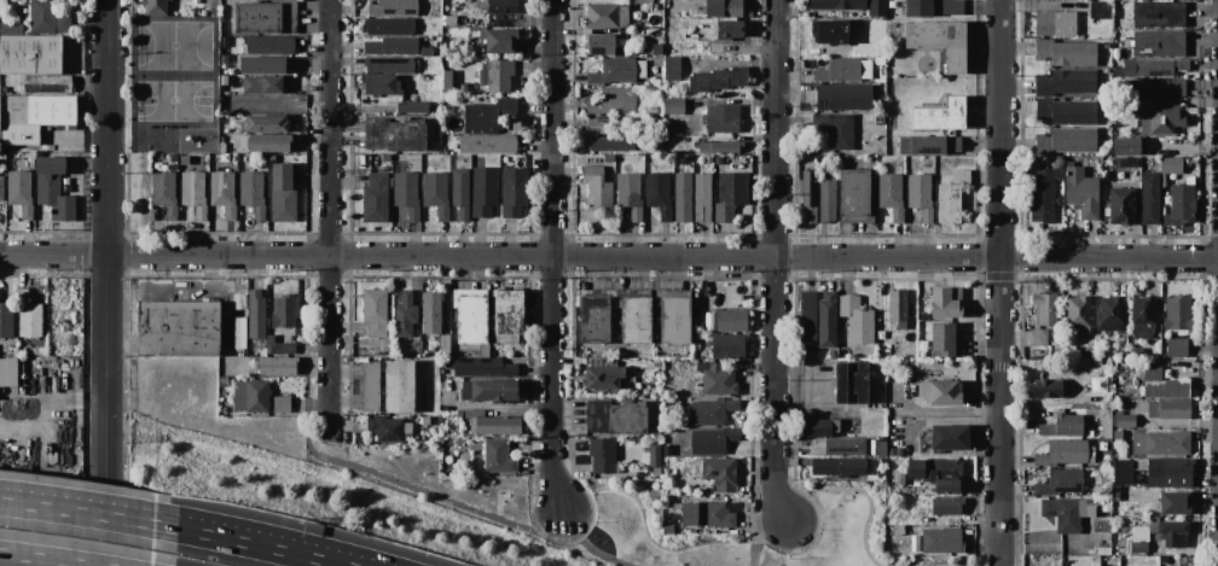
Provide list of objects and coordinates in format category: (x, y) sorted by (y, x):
building: (644, 1)
building: (837, 5)
building: (501, 6)
building: (156, 7)
building: (393, 7)
building: (723, 7)
building: (876, 7)
building: (934, 8)
building: (1098, 8)
building: (1159, 14)
building: (608, 16)
building: (47, 17)
building: (266, 17)
building: (857, 23)
building: (1055, 23)
building: (10, 25)
building: (390, 25)
building: (730, 28)
building: (831, 33)
building: (1120, 37)
building: (500, 40)
building: (938, 40)
building: (604, 43)
building: (1159, 43)
building: (269, 45)
building: (391, 45)
building: (720, 47)
building: (427, 51)
building: (1066, 52)
building: (30, 54)
building: (263, 64)
building: (389, 65)
building: (1160, 66)
building: (672, 68)
building: (839, 70)
building: (617, 71)
building: (500, 76)
building: (718, 80)
building: (447, 81)
building: (1067, 81)
building: (47, 83)
building: (266, 83)
building: (382, 84)
building: (1160, 88)
building: (651, 89)
building: (843, 97)
building: (614, 100)
building: (674, 105)
building: (413, 107)
building: (651, 110)
building: (1066, 111)
building: (880, 112)
building: (489, 113)
building: (940, 115)
building: (35, 116)
building: (720, 118)
building: (1161, 118)
building: (266, 123)
building: (598, 127)
building: (834, 129)
building: (394, 135)
building: (1067, 140)
building: (268, 142)
building: (611, 142)
building: (487, 144)
building: (929, 145)
building: (718, 146)
building: (1125, 146)
building: (173, 157)
building: (233, 158)
building: (182, 159)
building: (1127, 162)
building: (1171, 164)
building: (1, 187)
building: (162, 187)
building: (53, 188)
building: (598, 188)
building: (1080, 189)
building: (485, 191)
building: (21, 192)
building: (195, 192)
building: (225, 192)
building: (460, 192)
building: (514, 192)
building: (854, 192)
building: (253, 193)
building: (283, 193)
building: (436, 193)
building: (407, 194)
building: (630, 194)
building: (659, 194)
building: (730, 194)
building: (891, 194)
building: (921, 194)
building: (808, 196)
building: (828, 196)
building: (375, 197)
building: (702, 197)
building: (952, 197)
building: (1042, 197)
building: (683, 198)
building: (1150, 198)
building: (1121, 205)
building: (1179, 205)
road: (329, 211)
road: (608, 255)
road: (552, 257)
road: (775, 263)
road: (108, 282)
road: (999, 282)
building: (946, 302)
building: (898, 307)
building: (1044, 309)
building: (1143, 309)
building: (285, 311)
building: (375, 311)
building: (431, 313)
building: (1110, 313)
building: (1178, 313)
building: (405, 314)
building: (509, 315)
building: (807, 315)
building: (1077, 315)
building: (28, 316)
building: (6, 319)
building: (256, 319)
building: (471, 319)
building: (826, 319)
building: (857, 319)
building: (593, 320)
building: (634, 320)
building: (674, 320)
building: (731, 320)
building: (178, 327)
building: (945, 338)
building: (1038, 343)
building: (445, 344)
building: (266, 345)
building: (727, 345)
building: (242, 348)
building: (280, 348)
building: (1176, 348)
building: (39, 350)
building: (1123, 352)
building: (1089, 354)
building: (277, 366)
building: (483, 367)
building: (7, 370)
building: (1152, 372)
building: (603, 377)
building: (718, 379)
building: (849, 383)
building: (389, 386)
building: (1048, 389)
building: (1171, 389)
building: (489, 390)
building: (941, 391)
building: (251, 396)
building: (282, 403)
building: (1168, 408)
building: (712, 410)
building: (627, 418)
building: (425, 420)
building: (1125, 421)
building: (493, 422)
building: (1068, 424)
building: (1104, 424)
building: (818, 427)
building: (388, 428)
building: (1118, 434)
building: (950, 436)
building: (713, 440)
building: (1160, 442)
building: (845, 448)
building: (882, 449)
building: (1065, 453)
building: (602, 454)
building: (498, 456)
building: (839, 465)
building: (656, 471)
building: (1155, 472)
building: (719, 473)
building: (938, 473)
road: (398, 482)
building: (1061, 482)
road: (860, 490)
building: (1173, 502)
building: (947, 506)
building: (1073, 510)
road: (88, 513)
building: (708, 514)
building: (668, 529)
building: (898, 530)
road: (646, 531)
building: (1170, 532)
road: (578, 535)
road: (761, 537)
building: (942, 539)
road: (260, 544)
building: (1138, 547)
building: (1103, 552)
road: (47, 559)

